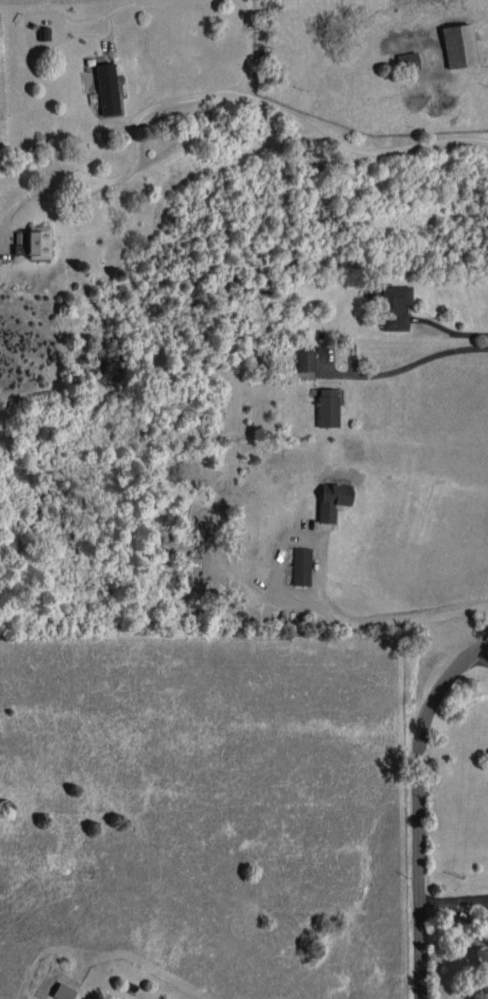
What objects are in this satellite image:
road: (111, 11)
road: (249, 45)
building: (459, 45)
building: (408, 61)
building: (107, 88)
road: (310, 121)
road: (84, 193)
building: (38, 242)
building: (394, 306)
road: (460, 333)
building: (305, 360)
road: (406, 365)
building: (327, 406)
building: (332, 500)
building: (300, 565)
road: (371, 620)
road: (481, 658)
road: (420, 810)
road: (453, 898)
building: (63, 992)

